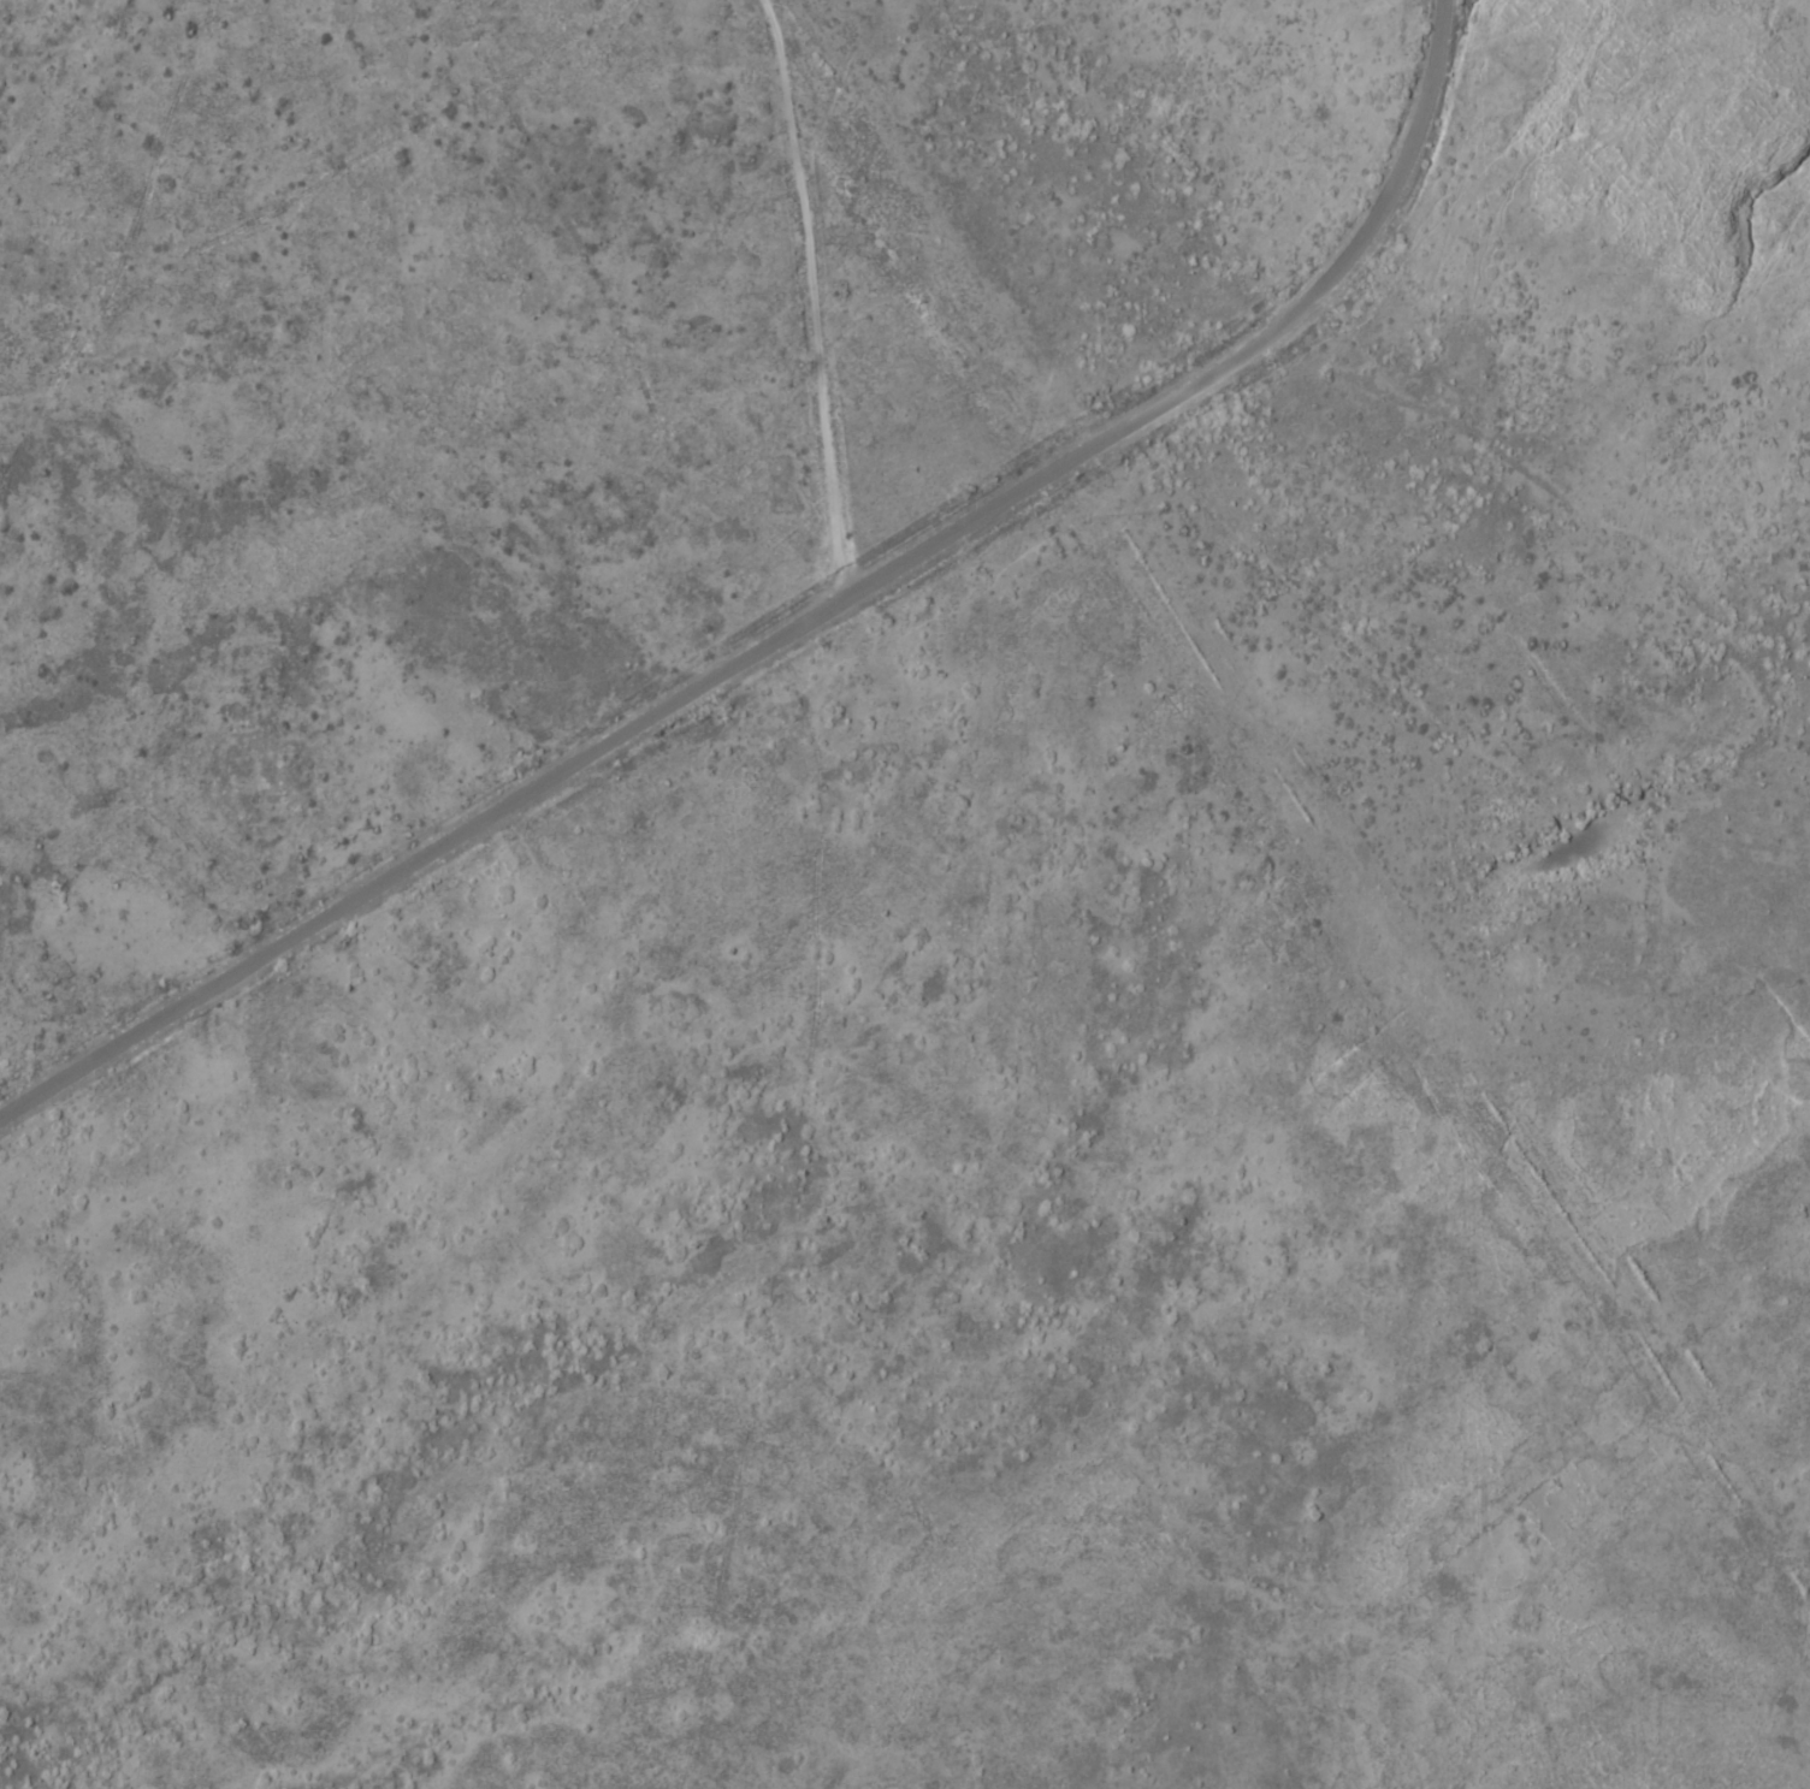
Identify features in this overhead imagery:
road: (817, 292)
road: (803, 624)

